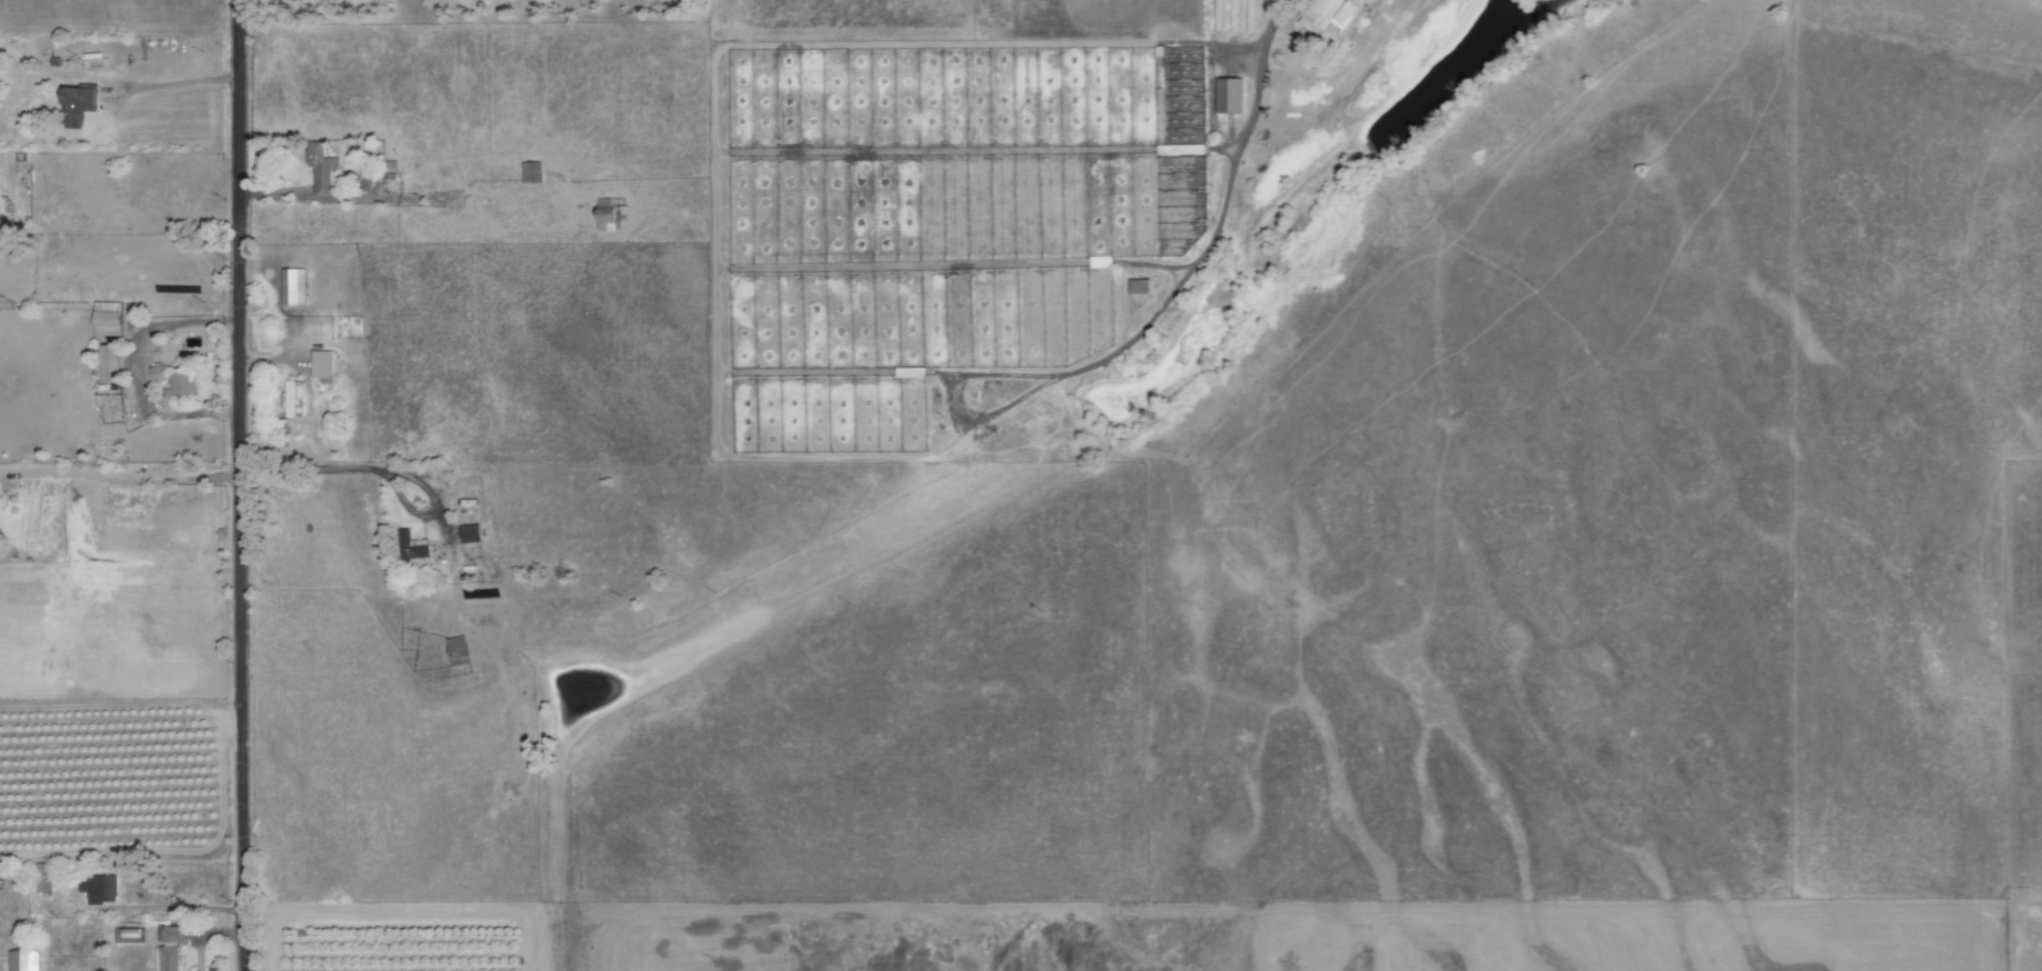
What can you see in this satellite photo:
building: (1330, 13)
road: (176, 84)
building: (1229, 96)
building: (78, 106)
building: (322, 171)
building: (531, 173)
building: (610, 215)
building: (1139, 287)
building: (293, 288)
building: (108, 319)
building: (109, 364)
building: (323, 367)
building: (910, 373)
building: (157, 375)
building: (180, 387)
building: (296, 400)
road: (385, 468)
road: (117, 476)
road: (235, 485)
building: (470, 534)
building: (413, 550)
building: (458, 652)
building: (43, 877)
building: (99, 888)
building: (128, 934)
building: (173, 934)
building: (23, 960)
building: (165, 960)

